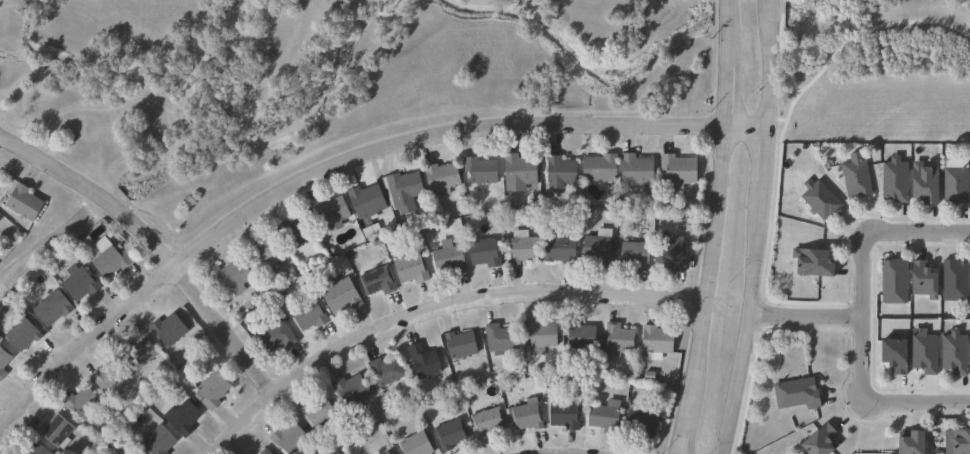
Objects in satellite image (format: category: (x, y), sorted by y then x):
road: (218, 31)
park: (874, 69)
road: (207, 75)
park: (315, 82)
road: (26, 92)
road: (109, 106)
road: (339, 164)
building: (597, 168)
building: (482, 170)
building: (517, 170)
building: (557, 170)
building: (633, 170)
building: (676, 170)
building: (445, 178)
building: (854, 179)
building: (892, 180)
building: (922, 184)
building: (953, 186)
building: (406, 190)
building: (818, 199)
building: (371, 200)
building: (27, 202)
building: (333, 213)
building: (0, 220)
building: (0, 222)
road: (716, 228)
road: (761, 228)
road: (917, 231)
building: (297, 232)
road: (153, 247)
building: (521, 247)
building: (596, 248)
building: (557, 250)
building: (484, 253)
building: (267, 255)
building: (633, 255)
building: (668, 255)
building: (452, 257)
building: (112, 259)
building: (809, 263)
building: (415, 269)
road: (860, 274)
building: (234, 276)
building: (969, 277)
building: (382, 281)
building: (892, 281)
building: (923, 281)
building: (952, 281)
building: (82, 282)
building: (345, 296)
road: (438, 305)
building: (56, 308)
building: (311, 314)
road: (805, 316)
building: (171, 329)
building: (577, 335)
building: (26, 336)
building: (540, 336)
building: (280, 337)
building: (504, 339)
building: (616, 340)
building: (655, 340)
building: (462, 344)
building: (141, 353)
building: (952, 353)
building: (922, 354)
building: (890, 356)
road: (858, 357)
building: (969, 358)
building: (4, 359)
building: (426, 361)
building: (389, 372)
building: (111, 378)
building: (354, 390)
building: (215, 391)
building: (794, 394)
building: (84, 403)
road: (914, 404)
building: (320, 412)
building: (530, 415)
building: (563, 416)
building: (601, 417)
building: (186, 418)
building: (490, 423)
building: (639, 424)
building: (58, 431)
building: (453, 432)
building: (291, 439)
building: (162, 440)
building: (817, 441)
building: (958, 443)
building: (419, 444)
building: (907, 444)
building: (39, 450)
building: (24, 452)
building: (261, 452)
building: (268, 452)
building: (137, 453)
building: (384, 453)
building: (389, 453)

